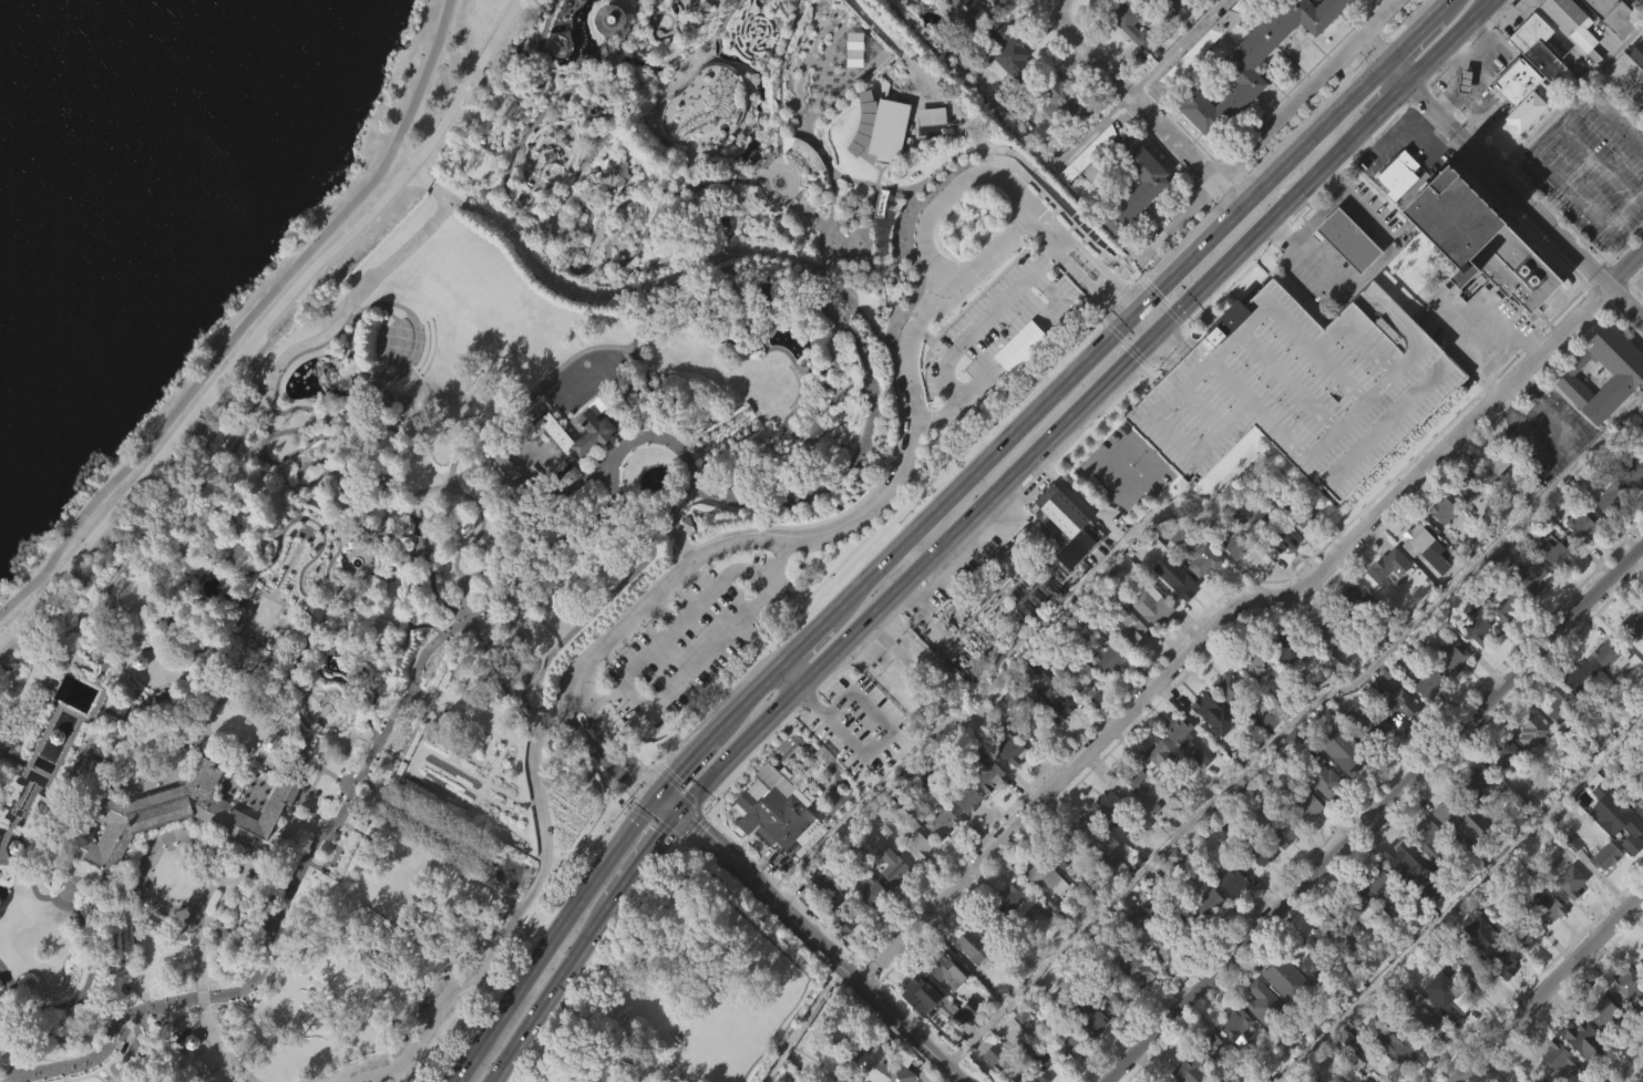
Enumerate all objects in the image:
building: (1173, 3)
road: (1055, 4)
building: (921, 6)
building: (964, 13)
road: (1503, 13)
building: (1612, 16)
building: (1131, 21)
building: (1571, 22)
building: (1246, 31)
building: (956, 38)
building: (1204, 40)
road: (1177, 47)
building: (1541, 48)
building: (1005, 54)
building: (1568, 55)
building: (1254, 61)
building: (1514, 79)
building: (1462, 81)
gas station: (1462, 81)
road: (1475, 82)
building: (1266, 83)
building: (852, 84)
building: (1636, 87)
building: (1005, 90)
building: (1189, 91)
road: (1568, 96)
road: (1451, 97)
building: (1059, 99)
road: (1141, 104)
building: (1524, 109)
building: (1460, 116)
road: (1265, 128)
road: (1093, 133)
building: (1060, 140)
road: (1394, 141)
road: (1321, 146)
building: (930, 152)
road: (1534, 152)
building: (877, 163)
building: (1080, 165)
building: (1396, 172)
road: (407, 174)
road: (1500, 176)
building: (1086, 188)
road: (1564, 188)
building: (1136, 194)
road: (947, 195)
building: (1398, 214)
building: (1134, 235)
building: (1346, 237)
building: (1477, 237)
road: (1365, 271)
road: (1034, 272)
building: (1345, 275)
building: (1477, 277)
road: (563, 284)
road: (1111, 284)
traffic signals: (1159, 290)
road: (945, 295)
traffic signals: (1105, 301)
road: (1639, 305)
road: (1109, 306)
road: (248, 322)
road: (1185, 330)
traffic signals: (1131, 357)
building: (1623, 368)
building: (1296, 384)
parking garage: (1296, 384)
road: (803, 388)
road: (952, 388)
road: (215, 391)
building: (1600, 410)
building: (593, 422)
road: (935, 425)
road: (511, 432)
building: (588, 444)
building: (1641, 449)
road: (681, 455)
building: (1492, 461)
park: (441, 468)
building: (1630, 471)
road: (340, 477)
road: (449, 478)
building: (1465, 484)
building: (1641, 484)
road: (444, 486)
building: (1492, 496)
building: (1605, 498)
building: (1441, 511)
building: (1056, 512)
building: (1295, 513)
road: (927, 519)
road: (965, 519)
building: (1616, 521)
building: (1582, 524)
road: (849, 525)
park: (506, 532)
building: (1274, 533)
road: (932, 535)
building: (1414, 537)
road: (679, 538)
road: (143, 539)
building: (1088, 543)
building: (1236, 544)
building: (1440, 545)
road: (83, 548)
road: (360, 552)
building: (1557, 552)
building: (1304, 553)
building: (1060, 555)
building: (1200, 559)
building: (1580, 559)
road: (217, 564)
road: (288, 565)
building: (1385, 566)
road: (249, 570)
building: (1232, 571)
road: (682, 573)
building: (1532, 578)
building: (1172, 579)
building: (1424, 583)
building: (1072, 584)
building: (1552, 586)
road: (233, 594)
road: (242, 594)
road: (435, 594)
building: (1201, 595)
road: (770, 599)
building: (1038, 599)
building: (1351, 600)
building: (1385, 600)
road: (210, 601)
road: (1244, 601)
building: (1503, 602)
building: (1150, 606)
building: (1529, 611)
road: (665, 612)
building: (1178, 616)
road: (715, 624)
building: (1327, 626)
building: (1630, 627)
building: (1125, 628)
building: (1475, 629)
road: (265, 638)
building: (1502, 639)
building: (1150, 640)
building: (1286, 645)
road: (247, 647)
road: (123, 653)
building: (988, 655)
building: (1450, 655)
building: (1606, 656)
building: (1105, 659)
building: (1253, 659)
building: (1632, 659)
road: (298, 660)
building: (1476, 662)
building: (1127, 664)
building: (1037, 668)
building: (1077, 672)
road: (789, 676)
building: (1578, 676)
building: (1283, 682)
building: (1427, 683)
building: (1231, 690)
building: (1450, 690)
building: (928, 691)
building: (1608, 692)
building: (1106, 693)
building: (1253, 697)
building: (1051, 703)
building: (1558, 703)
building: (1397, 704)
building: (1202, 708)
road: (214, 710)
building: (1079, 711)
building: (1577, 711)
road: (1287, 719)
building: (1428, 719)
building: (1225, 722)
road: (6, 728)
building: (1047, 728)
road: (599, 729)
building: (1008, 731)
building: (1531, 731)
road: (132, 732)
road: (581, 733)
building: (1177, 733)
building: (1376, 734)
building: (1395, 739)
building: (1555, 740)
building: (1203, 741)
building: (1007, 746)
road: (76, 748)
building: (1270, 754)
building: (1362, 755)
building: (1503, 755)
road: (327, 756)
building: (1347, 760)
building: (1529, 765)
building: (1177, 767)
building: (1162, 769)
road: (280, 771)
building: (984, 771)
traffic signals: (676, 772)
road: (327, 773)
road: (19, 780)
road: (88, 780)
building: (1476, 781)
building: (1323, 782)
road: (68, 783)
building: (1012, 784)
traffic signals: (630, 785)
building: (1506, 791)
building: (1154, 792)
road: (670, 801)
building: (1450, 802)
building: (1640, 802)
building: (1103, 803)
road: (665, 807)
building: (1306, 807)
building: (984, 810)
building: (172, 812)
building: (1133, 813)
road: (1373, 813)
building: (1323, 816)
building: (1479, 817)
building: (772, 821)
building: (941, 822)
traffic signals: (691, 826)
road: (668, 828)
building: (1626, 828)
road: (322, 829)
building: (1279, 829)
building: (964, 833)
traffic signals: (664, 834)
building: (1100, 836)
road: (6, 837)
road: (165, 838)
building: (1428, 838)
building: (1305, 842)
building: (1149, 843)
building: (917, 844)
building: (177, 847)
building: (1257, 849)
building: (1059, 851)
building: (1450, 852)
building: (1604, 856)
building: (939, 858)
building: (1398, 859)
building: (1220, 865)
building: (892, 868)
building: (1281, 869)
building: (1426, 874)
building: (1096, 875)
building: (1046, 876)
building: (916, 879)
building: (1572, 880)
building: (1230, 882)
building: (1376, 883)
building: (1257, 887)
road: (32, 888)
building: (871, 889)
building: (1603, 890)
building: (884, 892)
building: (821, 895)
building: (1397, 895)
building: (1012, 896)
building: (1353, 906)
building: (1548, 907)
road: (521, 908)
building: (1044, 911)
building: (1191, 911)
building: (1230, 916)
building: (1569, 916)
building: (1376, 917)
building: (814, 919)
building: (988, 921)
building: (869, 924)
building: (1012, 931)
building: (1523, 935)
building: (1152, 936)
building: (1205, 937)
building: (1357, 941)
building: (1542, 941)
building: (968, 946)
road: (821, 947)
building: (1321, 948)
road: (89, 958)
building: (944, 970)
building: (1137, 970)
building: (1458, 970)
building: (1523, 972)
building: (1489, 981)
building: (1625, 982)
building: (973, 983)
building: (1161, 983)
road: (11, 985)
road: (1549, 987)
building: (1109, 988)
building: (1273, 990)
building: (920, 991)
building: (1447, 1001)
road: (203, 1002)
building: (1137, 1006)
building: (944, 1008)
building: (1596, 1010)
building: (1283, 1014)
building: (1621, 1019)
road: (798, 1022)
building: (1092, 1022)
building: (1233, 1024)
building: (1426, 1026)
building: (917, 1029)
building: (1260, 1037)
building: (1582, 1041)
building: (1394, 1045)
building: (1068, 1047)
building: (1209, 1049)
building: (1347, 1049)
building: (1097, 1052)
building: (953, 1053)
building: (1554, 1055)
building: (1233, 1060)
building: (1425, 1060)
building: (1037, 1061)
building: (880, 1066)
road: (522, 1069)
building: (1009, 1070)
building: (1579, 1071)
building: (1188, 1072)
building: (1388, 1073)
building: (1069, 1074)
building: (1208, 1076)
building: (1347, 1076)
building: (1551, 1079)
building: (624, 1080)
building: (993, 1080)
building: (1031, 1080)

